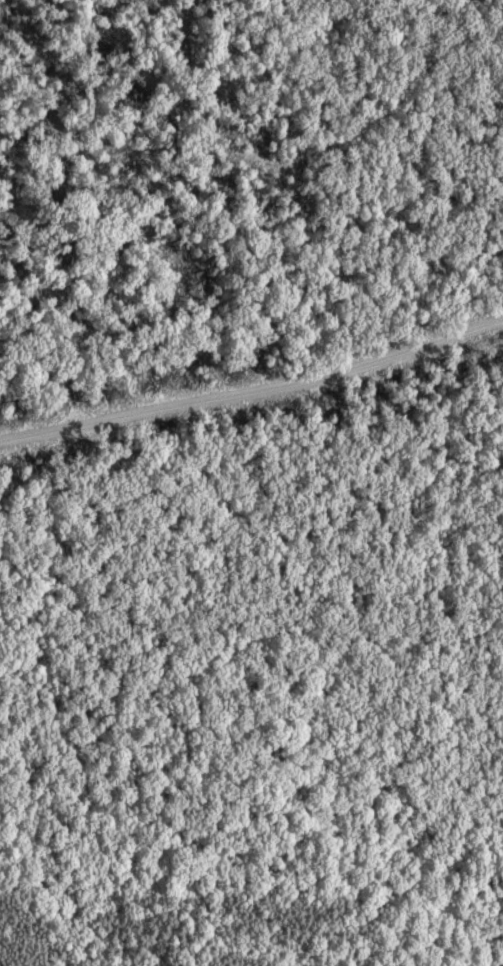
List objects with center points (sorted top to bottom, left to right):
road: (251, 342)

